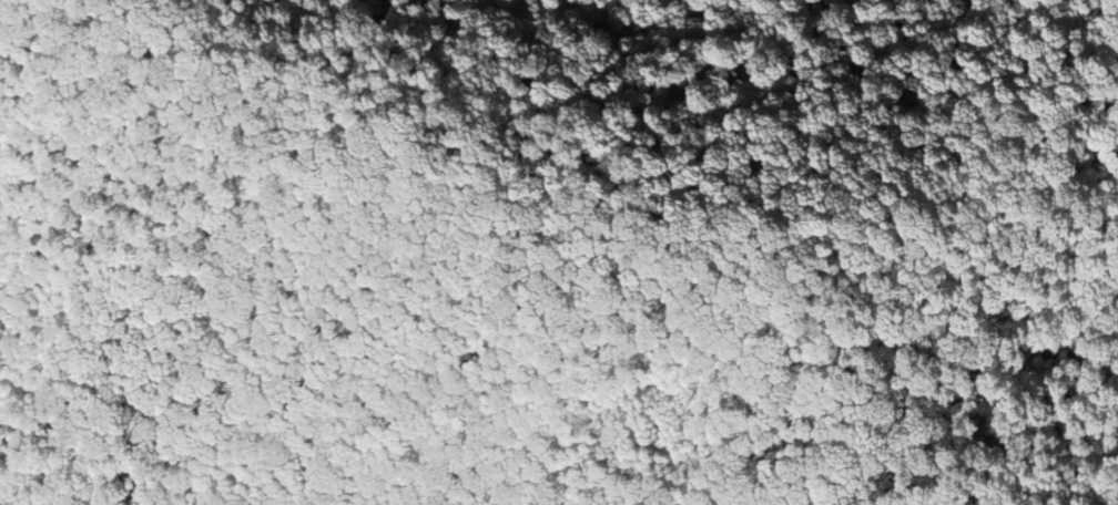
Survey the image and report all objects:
road: (431, 166)

